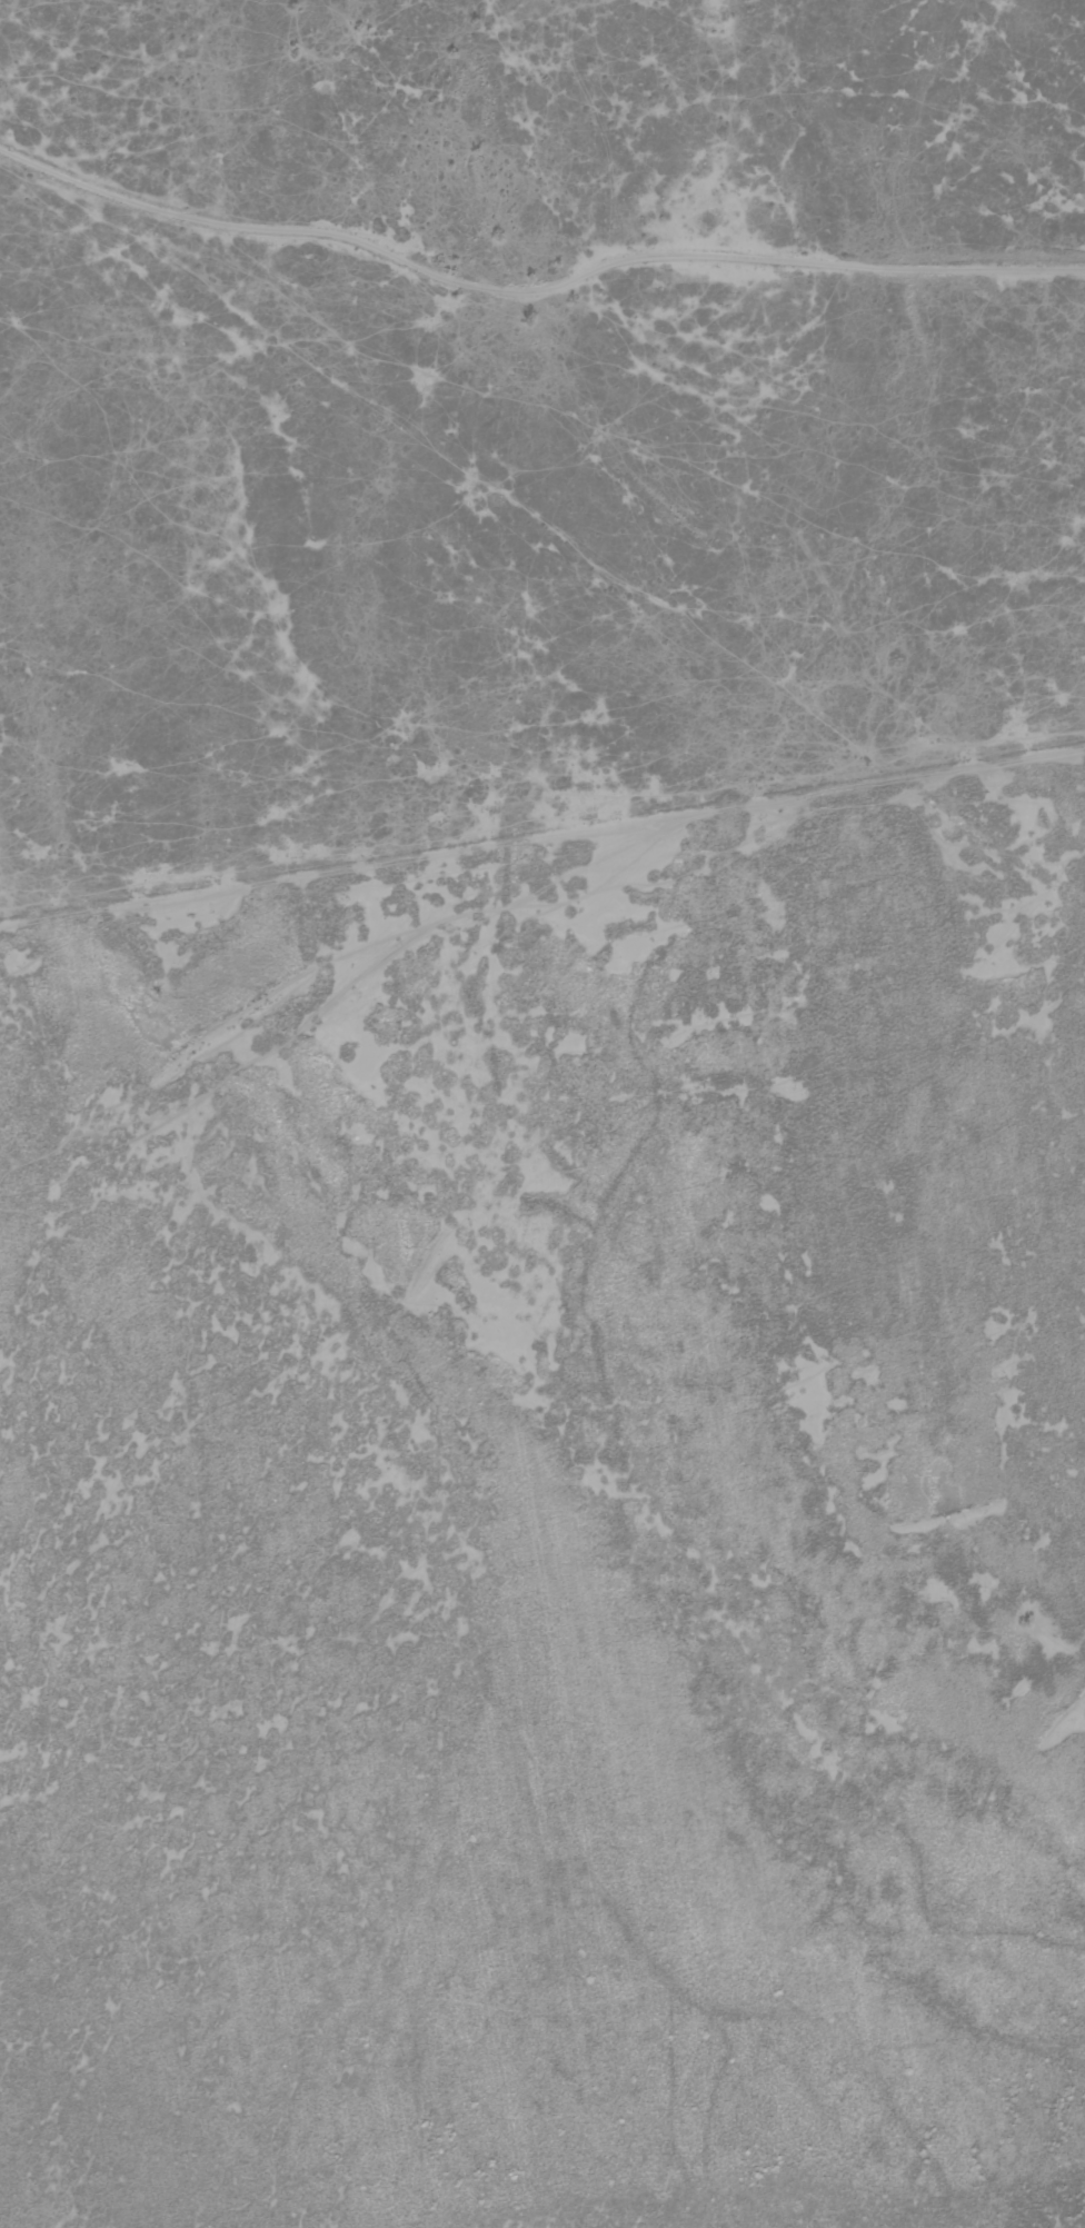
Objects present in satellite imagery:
road: (531, 298)

